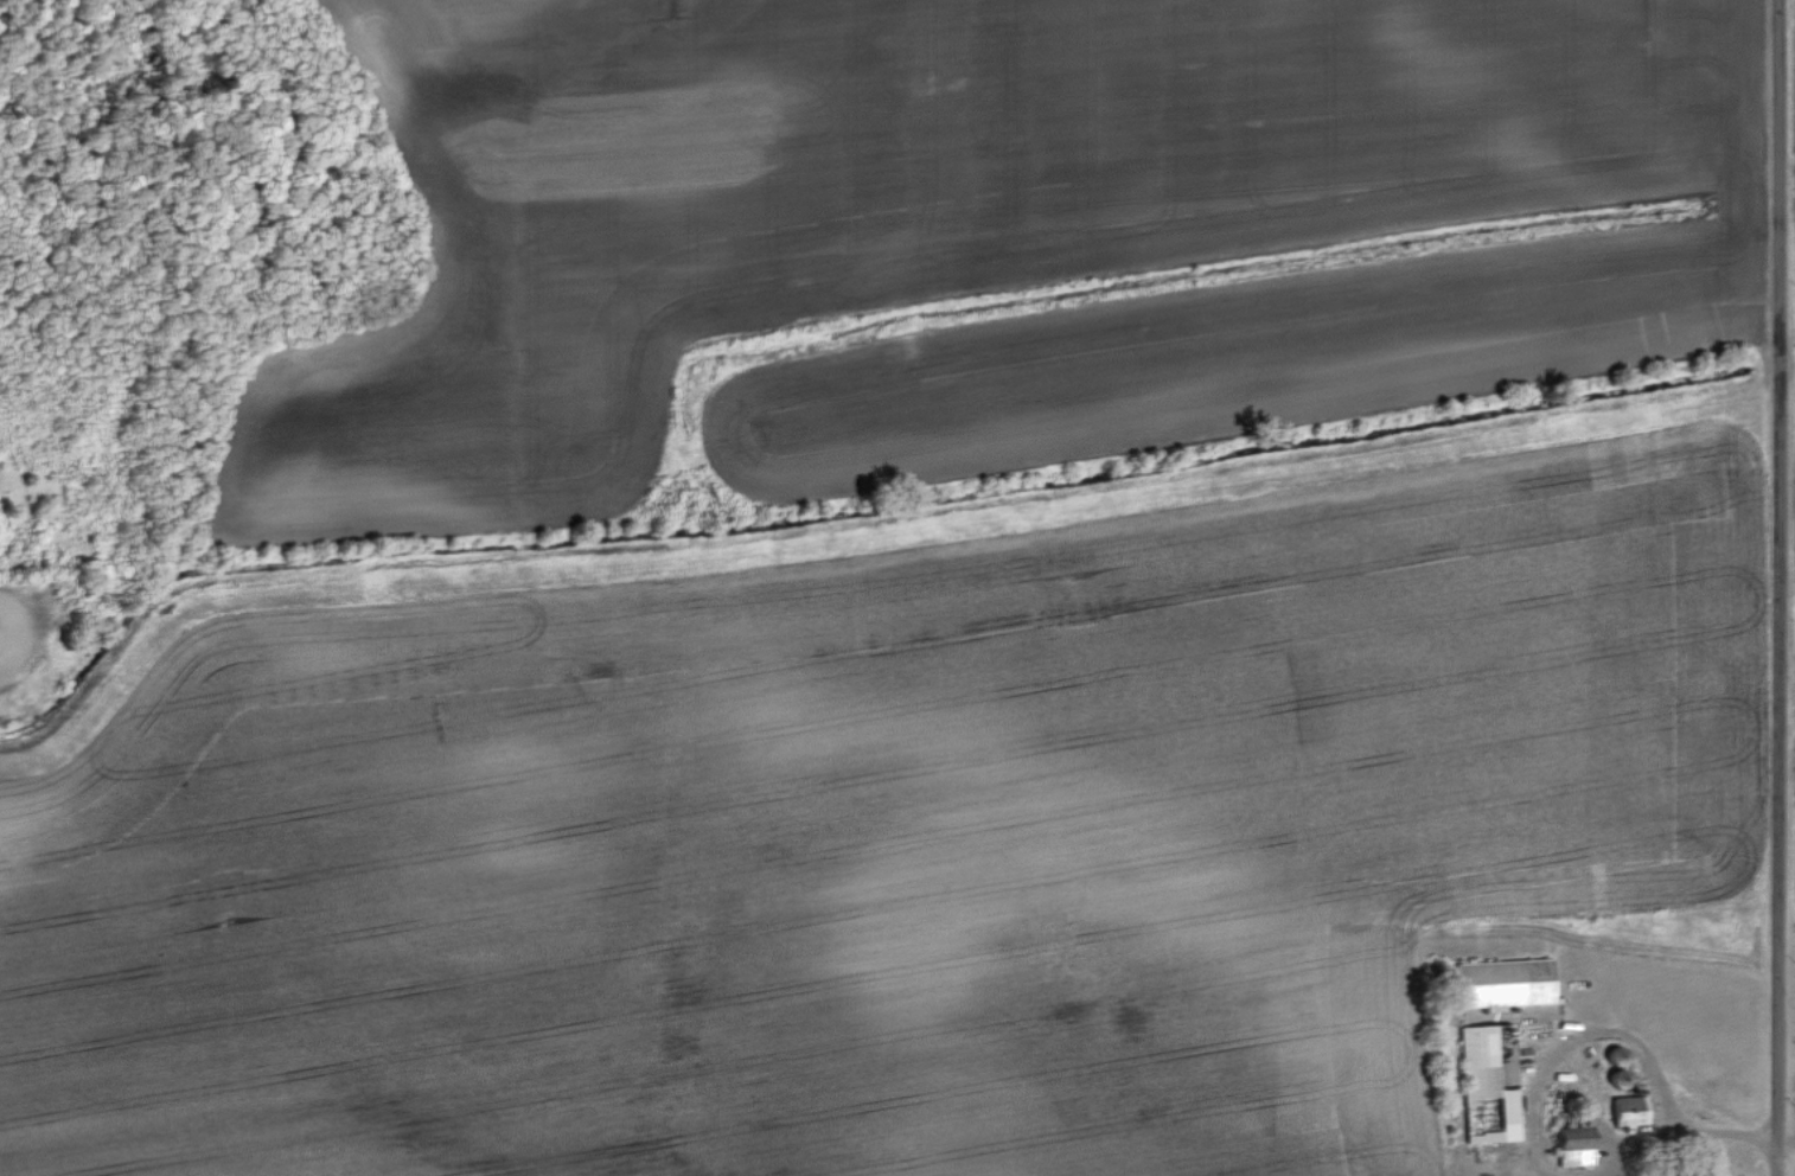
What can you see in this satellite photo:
road: (1781, 587)
building: (1515, 984)
road: (1574, 1037)
building: (1497, 1086)
building: (1637, 1113)
road: (1730, 1130)
road: (1636, 1144)
building: (1584, 1148)

